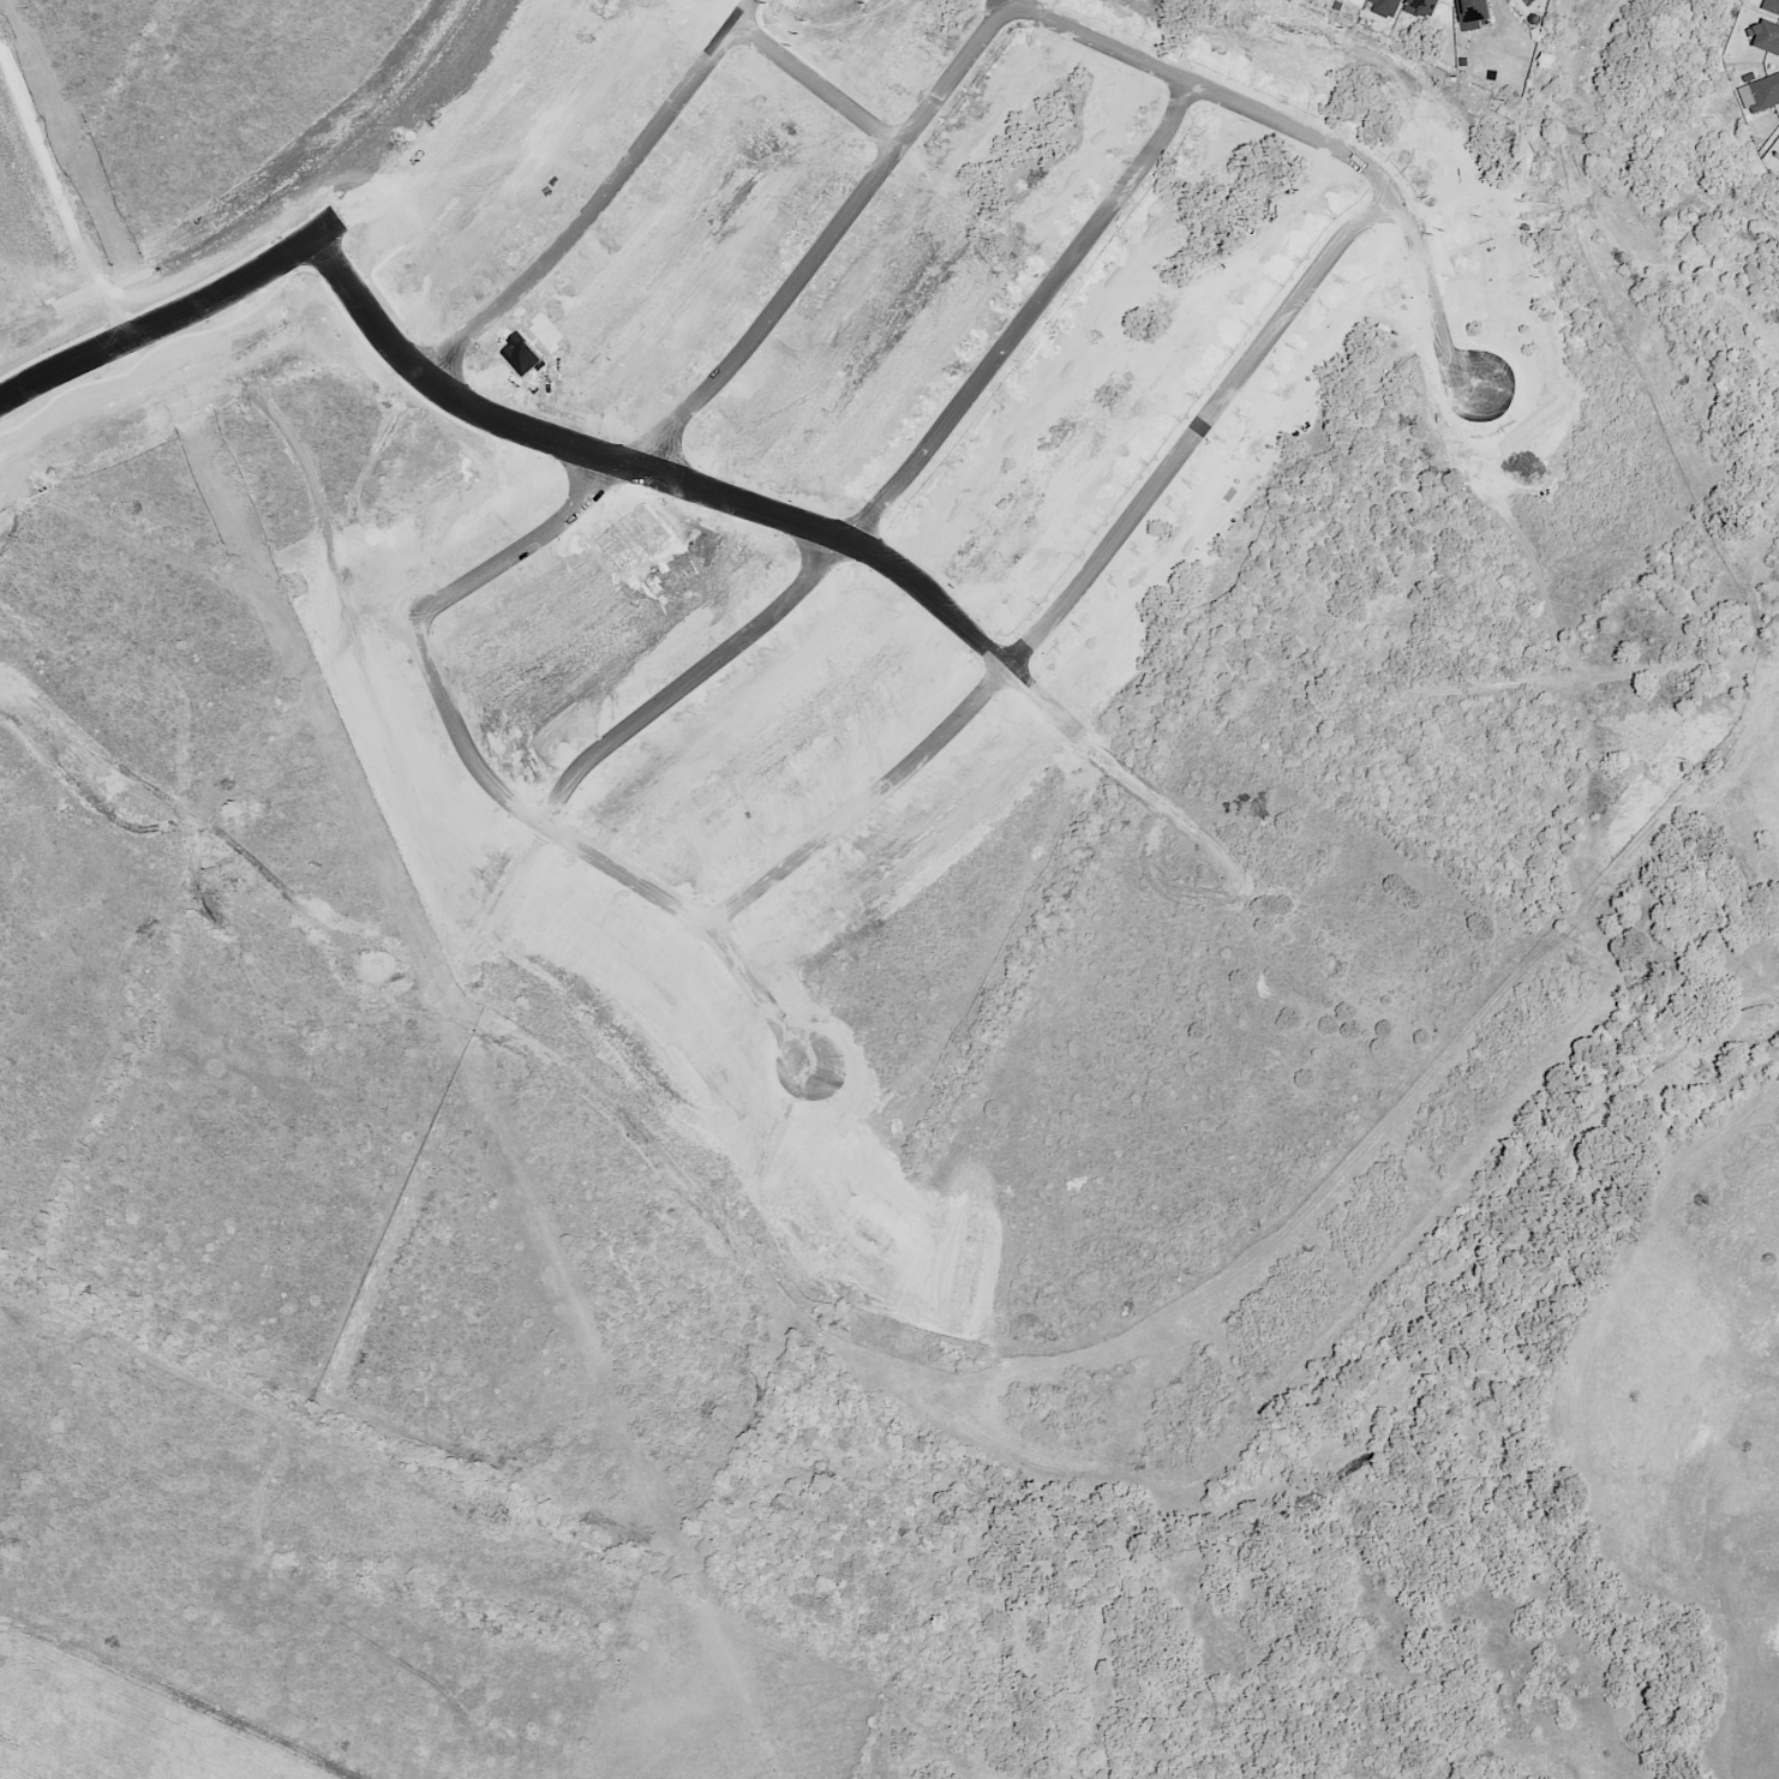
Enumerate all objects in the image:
building: (1389, 4)
building: (1771, 5)
building: (1424, 6)
building: (1468, 10)
building: (1763, 34)
road: (831, 89)
building: (1762, 90)
road: (1320, 140)
road: (613, 206)
road: (162, 324)
road: (765, 349)
road: (658, 475)
road: (912, 491)
road: (1094, 592)
road: (1684, 667)
road: (1182, 785)
road: (1168, 811)
road: (605, 861)
road: (1316, 948)
road: (125, 1079)
road: (71, 1131)
road: (174, 1328)

